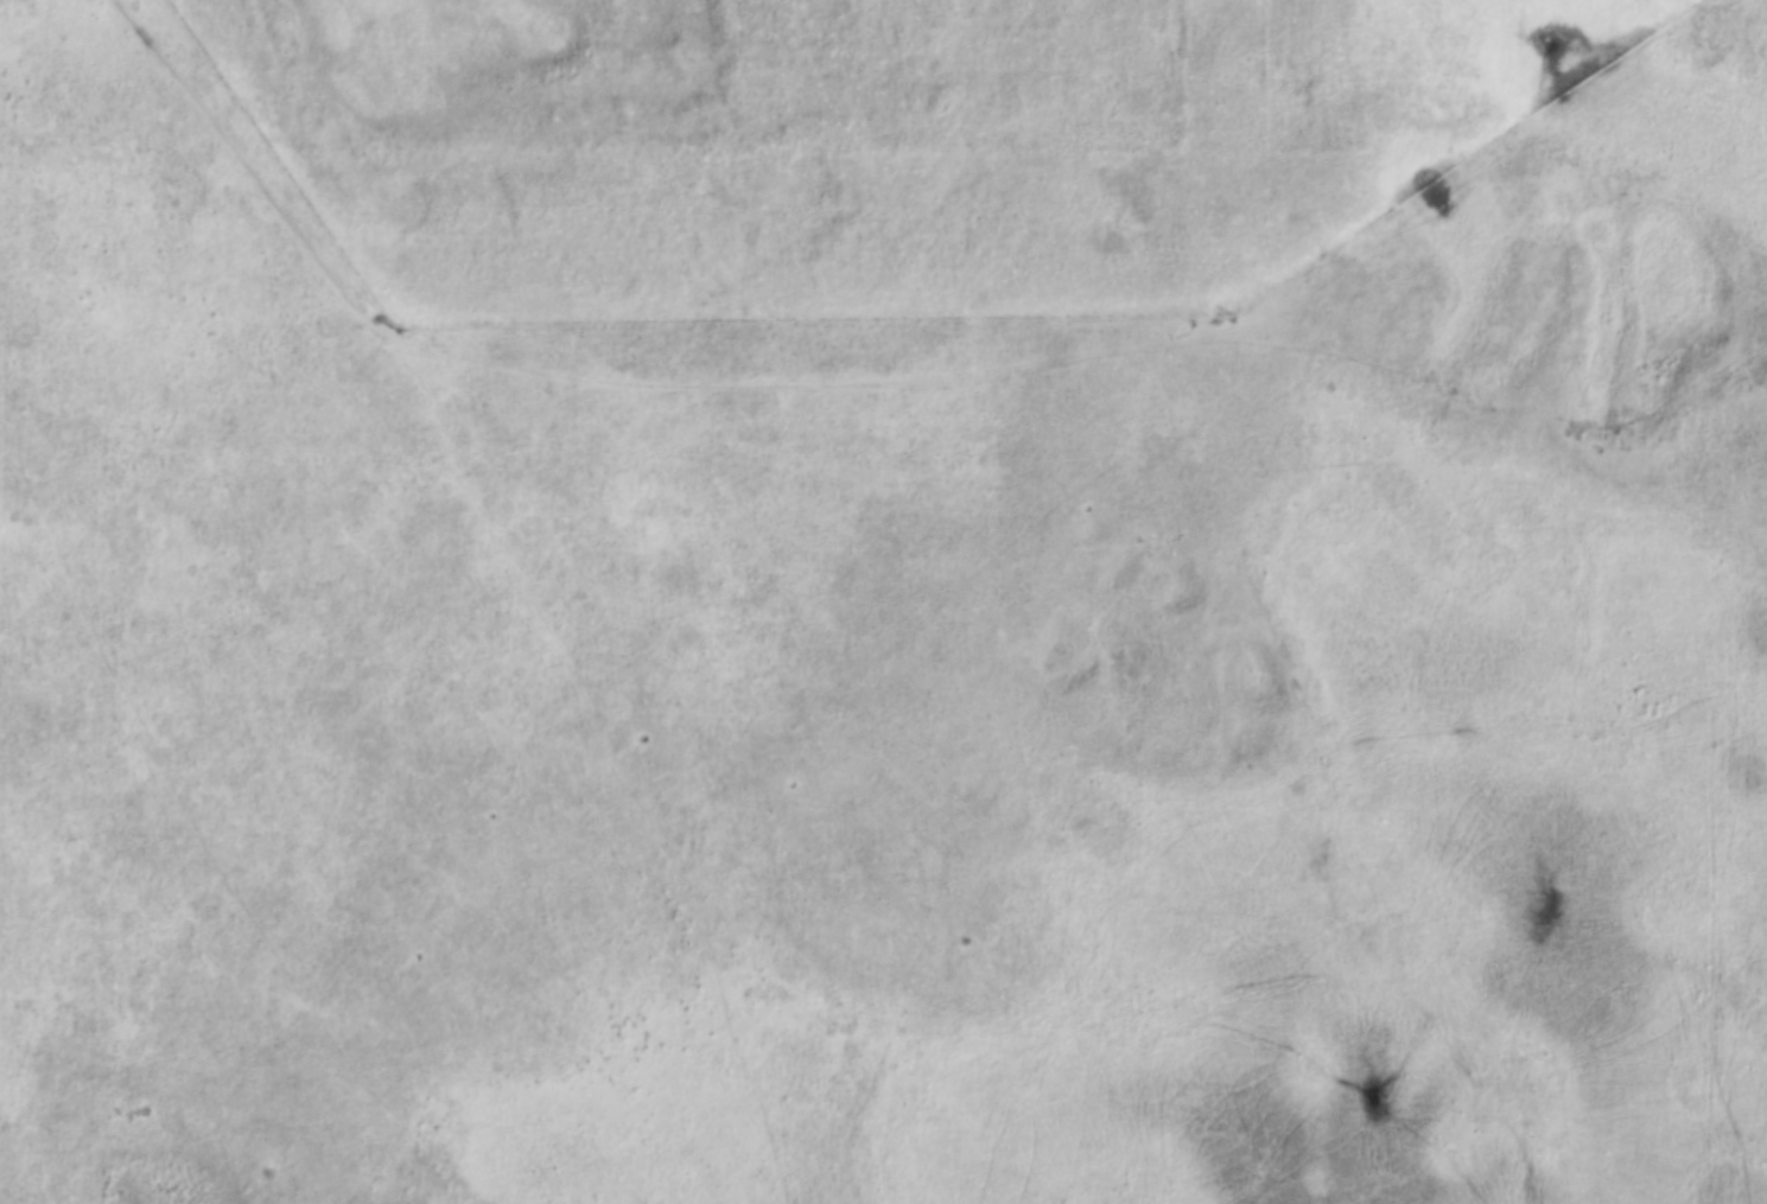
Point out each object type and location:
road: (897, 374)

